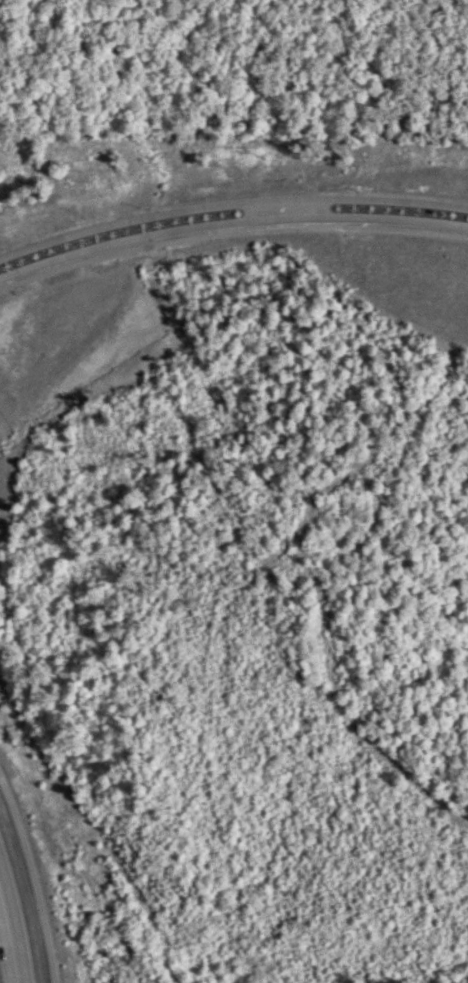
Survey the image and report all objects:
building: (10, 927)
road: (14, 934)

